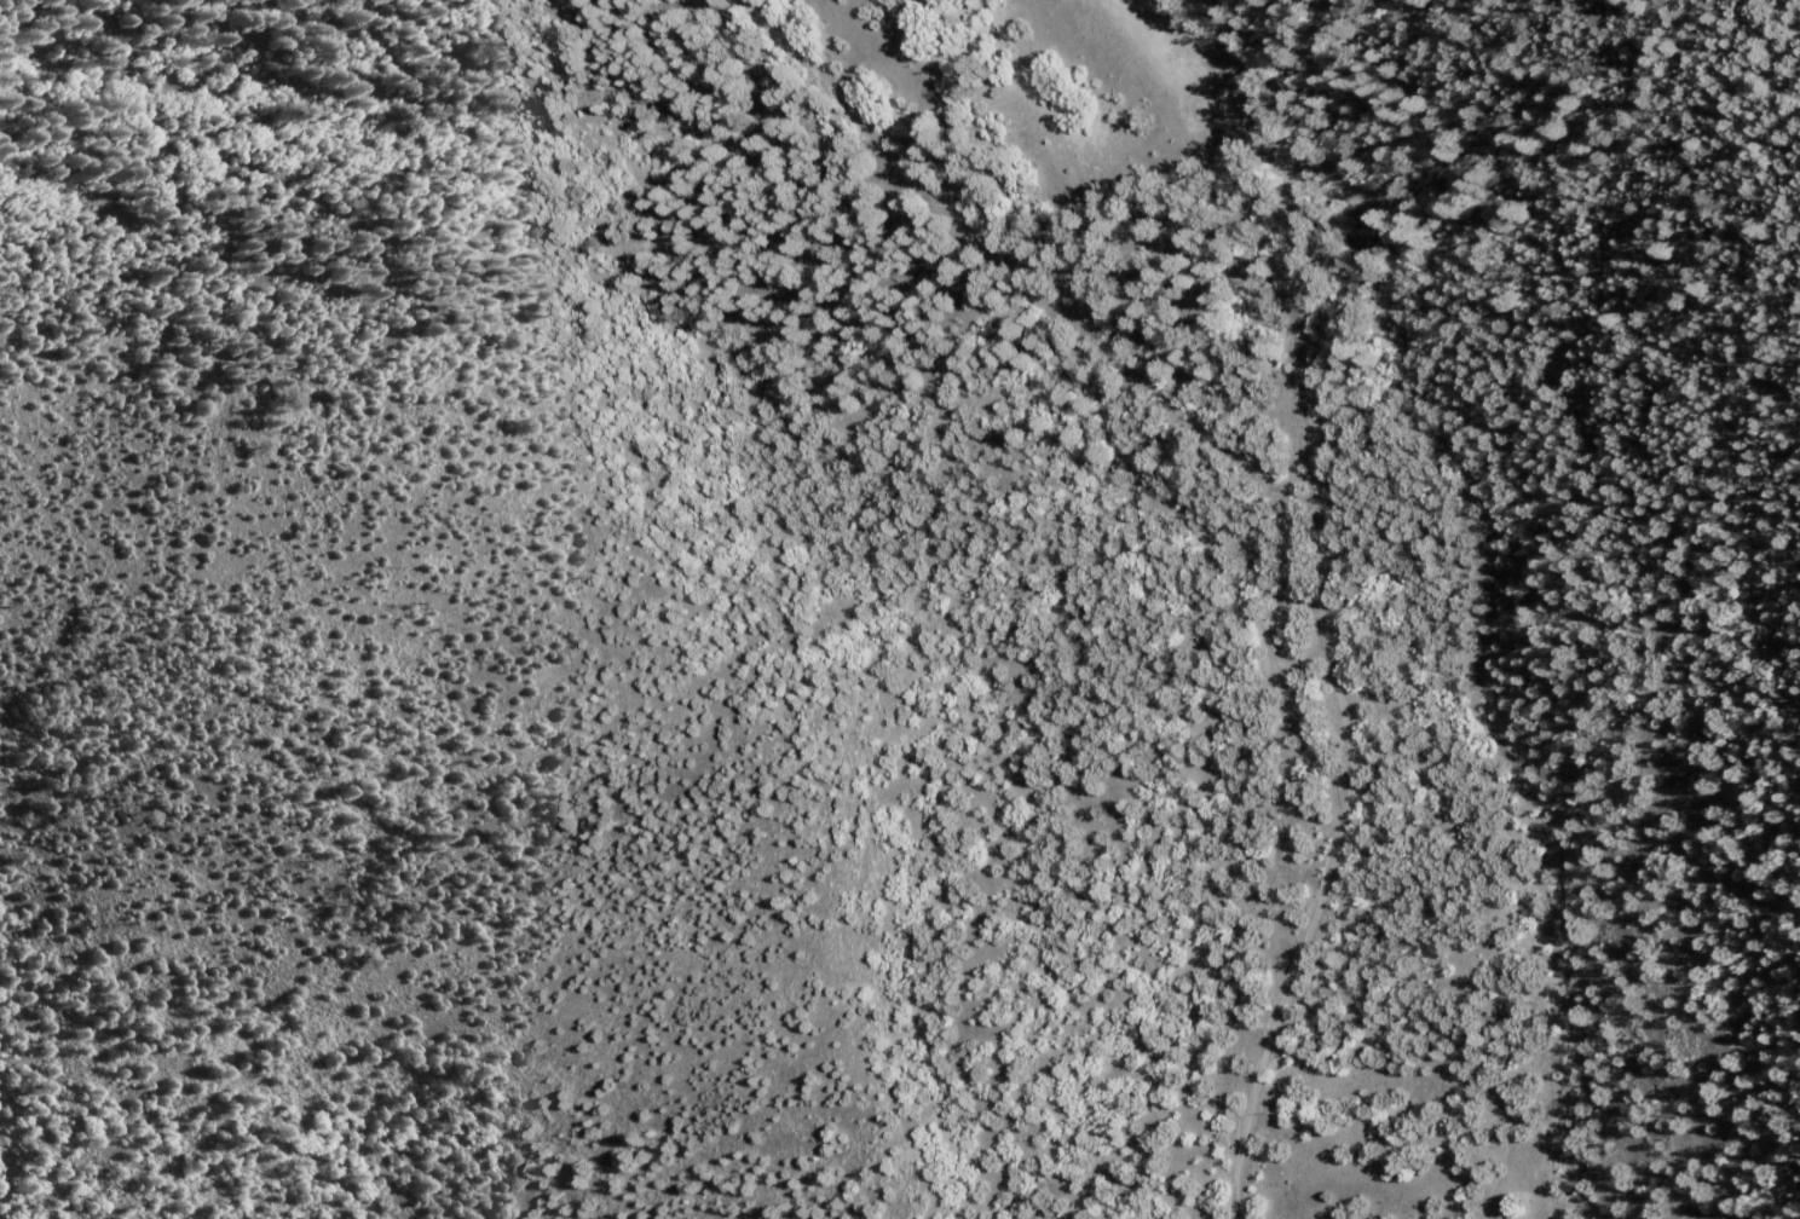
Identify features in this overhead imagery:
road: (1320, 611)

